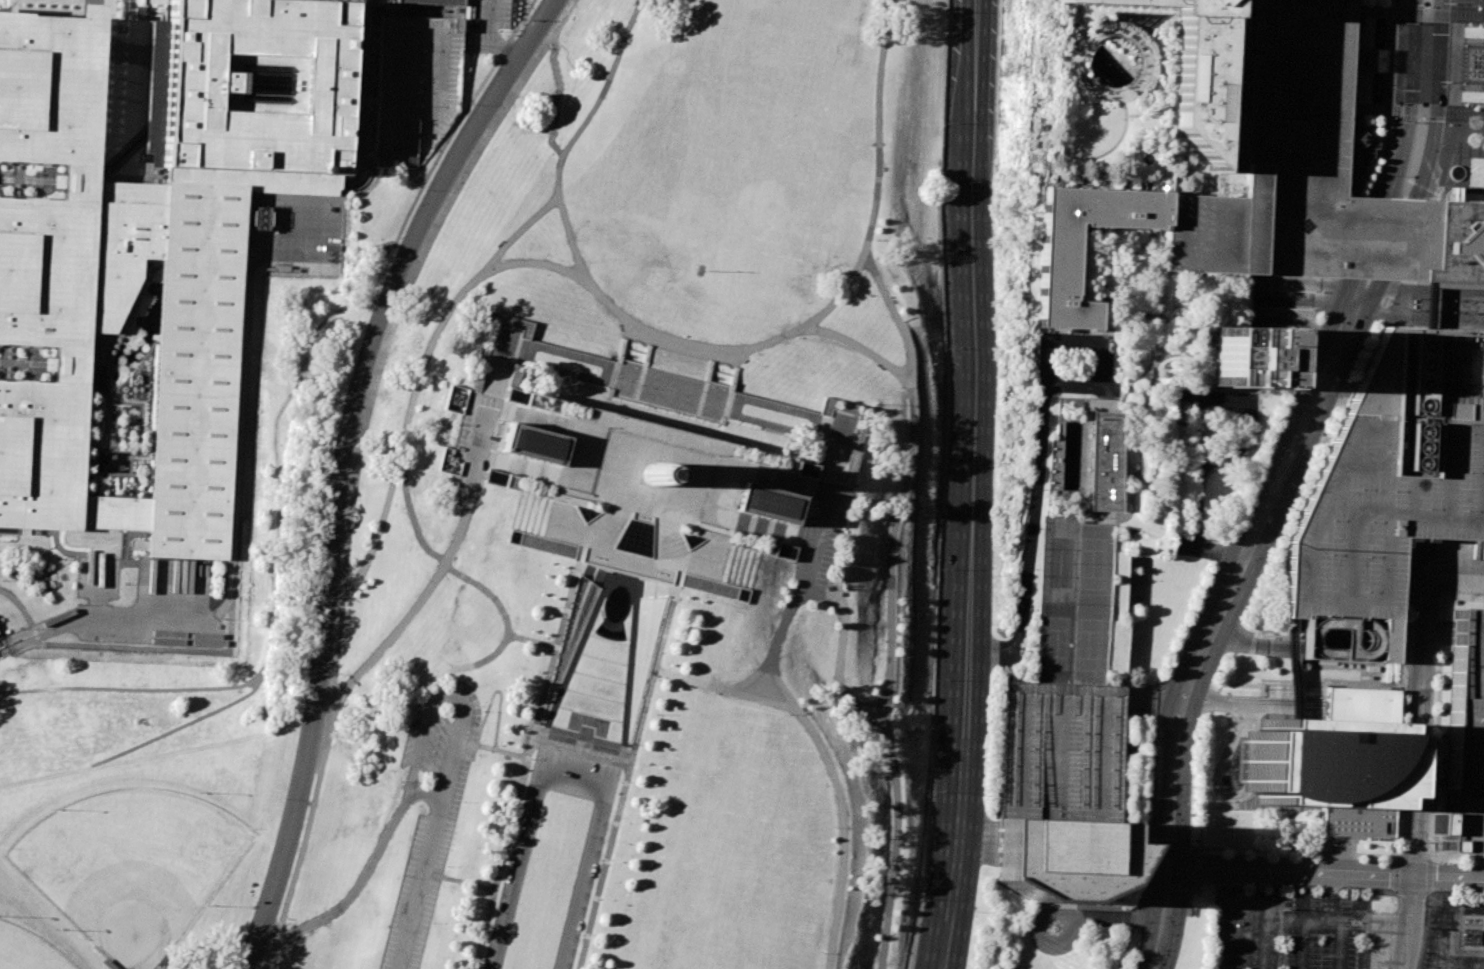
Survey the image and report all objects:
building: (437, 1)
street lamp: (1397, 3)
street lamp: (951, 10)
street lamp: (1000, 11)
road: (1374, 11)
road: (1397, 11)
road: (1427, 12)
parking lot: (484, 21)
street lamp: (523, 24)
street lamp: (499, 31)
road: (547, 32)
fountain: (1379, 32)
road: (487, 36)
road: (1471, 40)
street lamp: (483, 54)
road: (1387, 54)
road: (1367, 60)
road: (1138, 64)
fountain: (1483, 64)
building: (1189, 67)
road: (1380, 70)
road: (1457, 75)
building: (415, 84)
parking lot: (415, 84)
fountain: (1377, 87)
road: (1470, 88)
road: (366, 100)
road: (1411, 101)
road: (1437, 101)
street lamp: (1395, 103)
street lamp: (473, 104)
road: (1393, 109)
road: (1422, 110)
street lamp: (947, 122)
street lamp: (996, 122)
road: (1442, 131)
road: (1384, 151)
building: (1356, 152)
road: (1446, 159)
road: (370, 167)
building: (1254, 171)
building: (1342, 173)
street lamp: (1386, 174)
street lamp: (424, 189)
road: (331, 207)
road: (409, 210)
street lamp: (992, 234)
street lamp: (945, 235)
road: (1353, 235)
road: (1371, 239)
road: (1398, 240)
road: (1413, 240)
building: (149, 242)
road: (534, 263)
flagpole: (703, 271)
street lamp: (382, 279)
road: (1369, 304)
road: (1429, 306)
road: (894, 316)
street lamp: (1322, 320)
road: (393, 333)
street lamp: (1364, 337)
street lamp: (996, 346)
street lamp: (950, 348)
road: (710, 351)
building: (498, 353)
fountain: (634, 357)
building: (1244, 360)
street lamp: (1301, 367)
fountain: (721, 379)
road: (107, 380)
street lamp: (346, 380)
road: (417, 383)
street lamp: (900, 386)
street lamp: (1341, 388)
road: (672, 391)
street lamp: (1280, 415)
road: (1289, 421)
road: (1314, 427)
road: (141, 432)
street lamp: (1320, 434)
road: (1041, 436)
parking lot: (475, 437)
road: (1240, 443)
road: (656, 448)
road: (94, 454)
street lamp: (947, 460)
street lamp: (994, 461)
building: (1109, 461)
road: (341, 464)
road: (702, 472)
building: (834, 474)
street lamp: (324, 479)
road: (540, 482)
road: (944, 485)
railway: (953, 485)
road: (972, 485)
railway: (991, 485)
building: (646, 492)
building: (1389, 493)
road: (642, 508)
road: (237, 512)
street lamp: (1236, 516)
park: (653, 517)
parking lot: (822, 530)
road: (590, 535)
street lamp: (1276, 535)
road: (753, 536)
road: (682, 538)
road: (761, 538)
road: (812, 541)
road: (743, 556)
road: (794, 556)
road: (674, 558)
park: (1061, 561)
park: (1095, 562)
street lamp: (943, 569)
road: (454, 571)
street lamp: (994, 575)
road: (432, 584)
street lamp: (1206, 587)
street lamp: (313, 591)
road: (735, 593)
road: (746, 597)
road: (18, 602)
street lamp: (1245, 605)
street lamp: (1436, 608)
road: (1191, 614)
fountain: (613, 625)
road: (5, 633)
road: (36, 633)
street lamp: (886, 641)
park: (1058, 641)
park: (1092, 642)
road: (1237, 647)
road: (166, 648)
street lamp: (1176, 655)
road: (474, 667)
road: (1292, 670)
street lamp: (1216, 671)
road: (838, 672)
street lamp: (1434, 672)
road: (261, 673)
road: (754, 673)
road: (567, 677)
park: (190, 681)
road: (722, 688)
street lamp: (302, 694)
road: (501, 700)
road: (1232, 701)
road: (431, 705)
street lamp: (788, 713)
street lamp: (1431, 724)
road: (178, 726)
road: (1434, 730)
street lamp: (1152, 731)
street lamp: (1196, 734)
building: (1467, 741)
parking lot: (1467, 741)
road: (468, 743)
parking lot: (1061, 750)
road: (1419, 750)
street lamp: (532, 759)
road: (1175, 764)
building: (1333, 764)
street lamp: (1430, 770)
road: (525, 773)
road: (567, 778)
street lamp: (619, 781)
road: (623, 785)
street lamp: (931, 792)
road: (427, 794)
street lamp: (986, 796)
street lamp: (282, 800)
parking lot: (430, 810)
street lamp: (1148, 811)
street lamp: (1190, 814)
street lamp: (834, 826)
road: (896, 835)
street lamp: (512, 837)
road: (303, 839)
street lamp: (1427, 842)
street lamp: (1242, 854)
street lamp: (1308, 856)
road: (1428, 856)
road: (1411, 857)
street lamp: (600, 858)
building: (1060, 859)
street lamp: (1374, 859)
street lamp: (1449, 863)
park: (130, 867)
traffic signals: (1171, 871)
road: (1327, 874)
road: (460, 880)
street lamp: (1213, 882)
street lamp: (1145, 885)
street lamp: (1186, 898)
street lamp: (918, 901)
street lamp: (254, 903)
street lamp: (974, 910)
street lamp: (493, 912)
road: (1107, 916)
parking lot: (1288, 929)
street lamp: (581, 934)
park: (26, 951)
street lamp: (822, 952)
parking lot: (1447, 953)
street lamp: (1132, 960)

